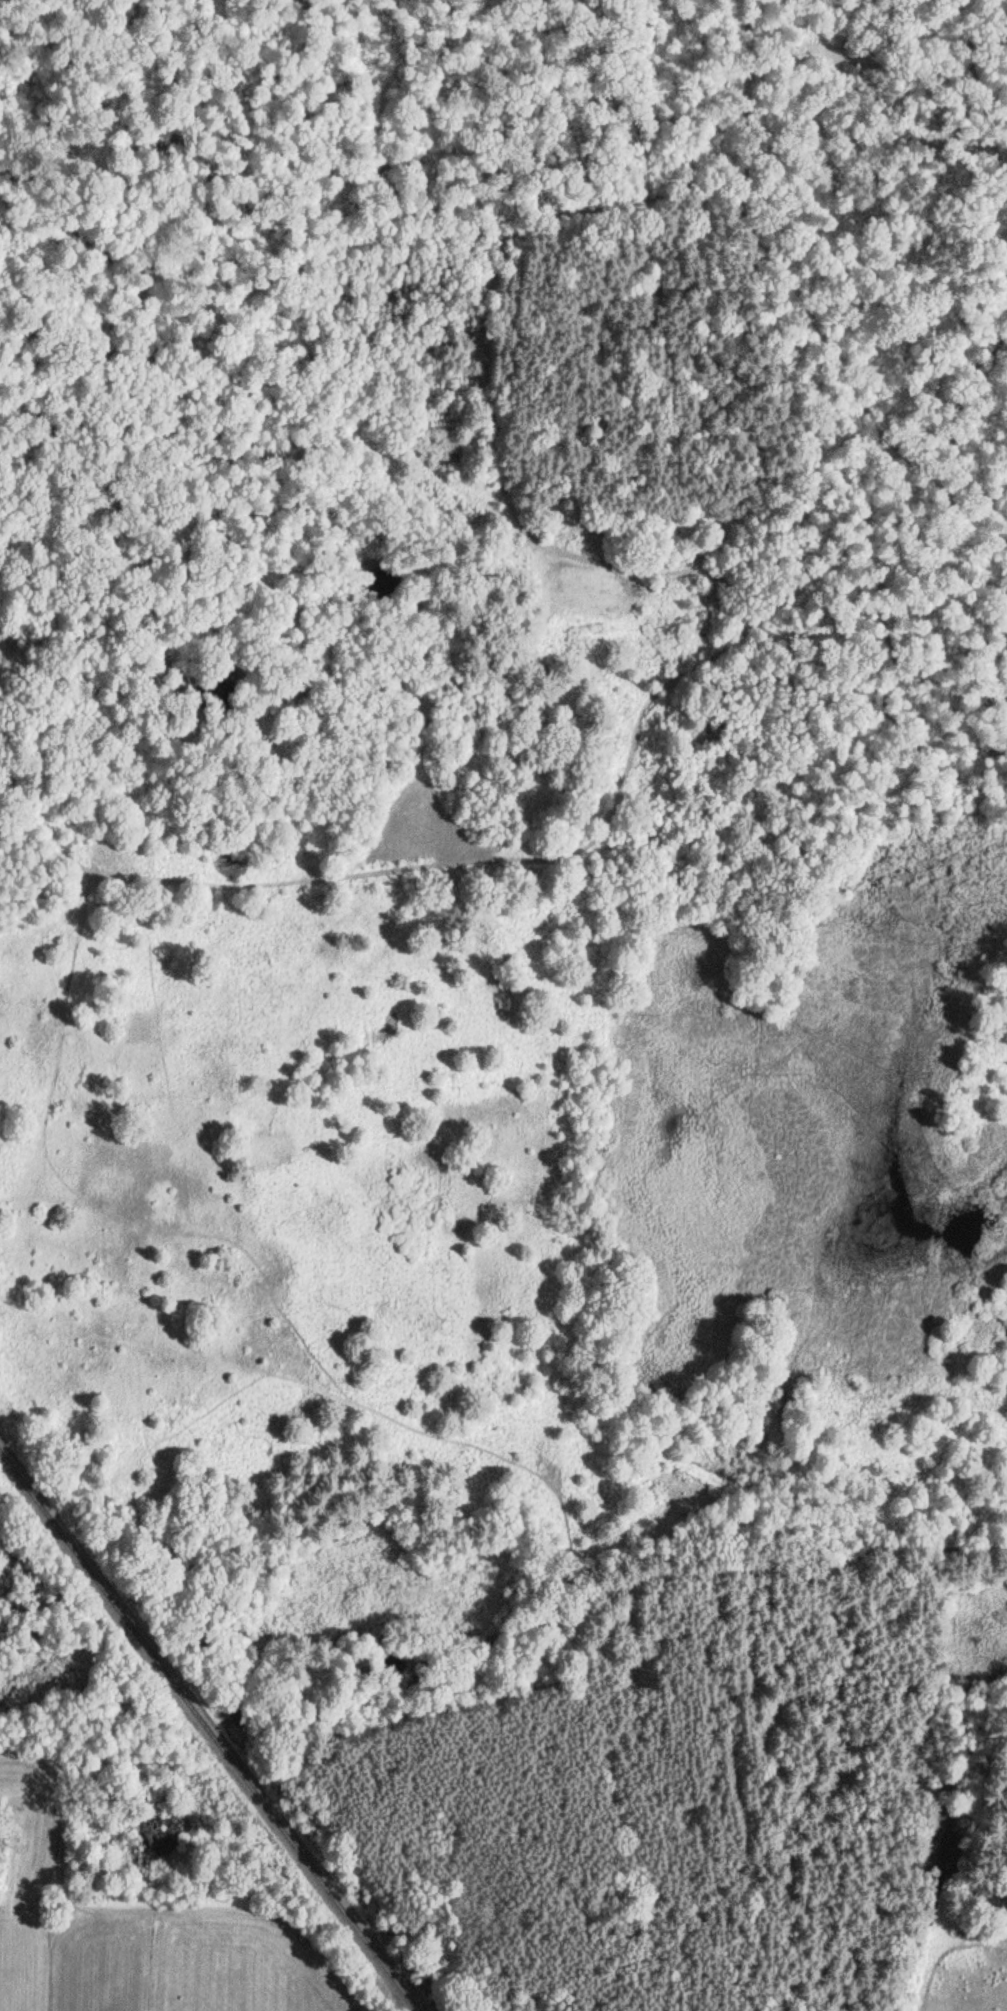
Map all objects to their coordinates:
railway: (209, 1729)

